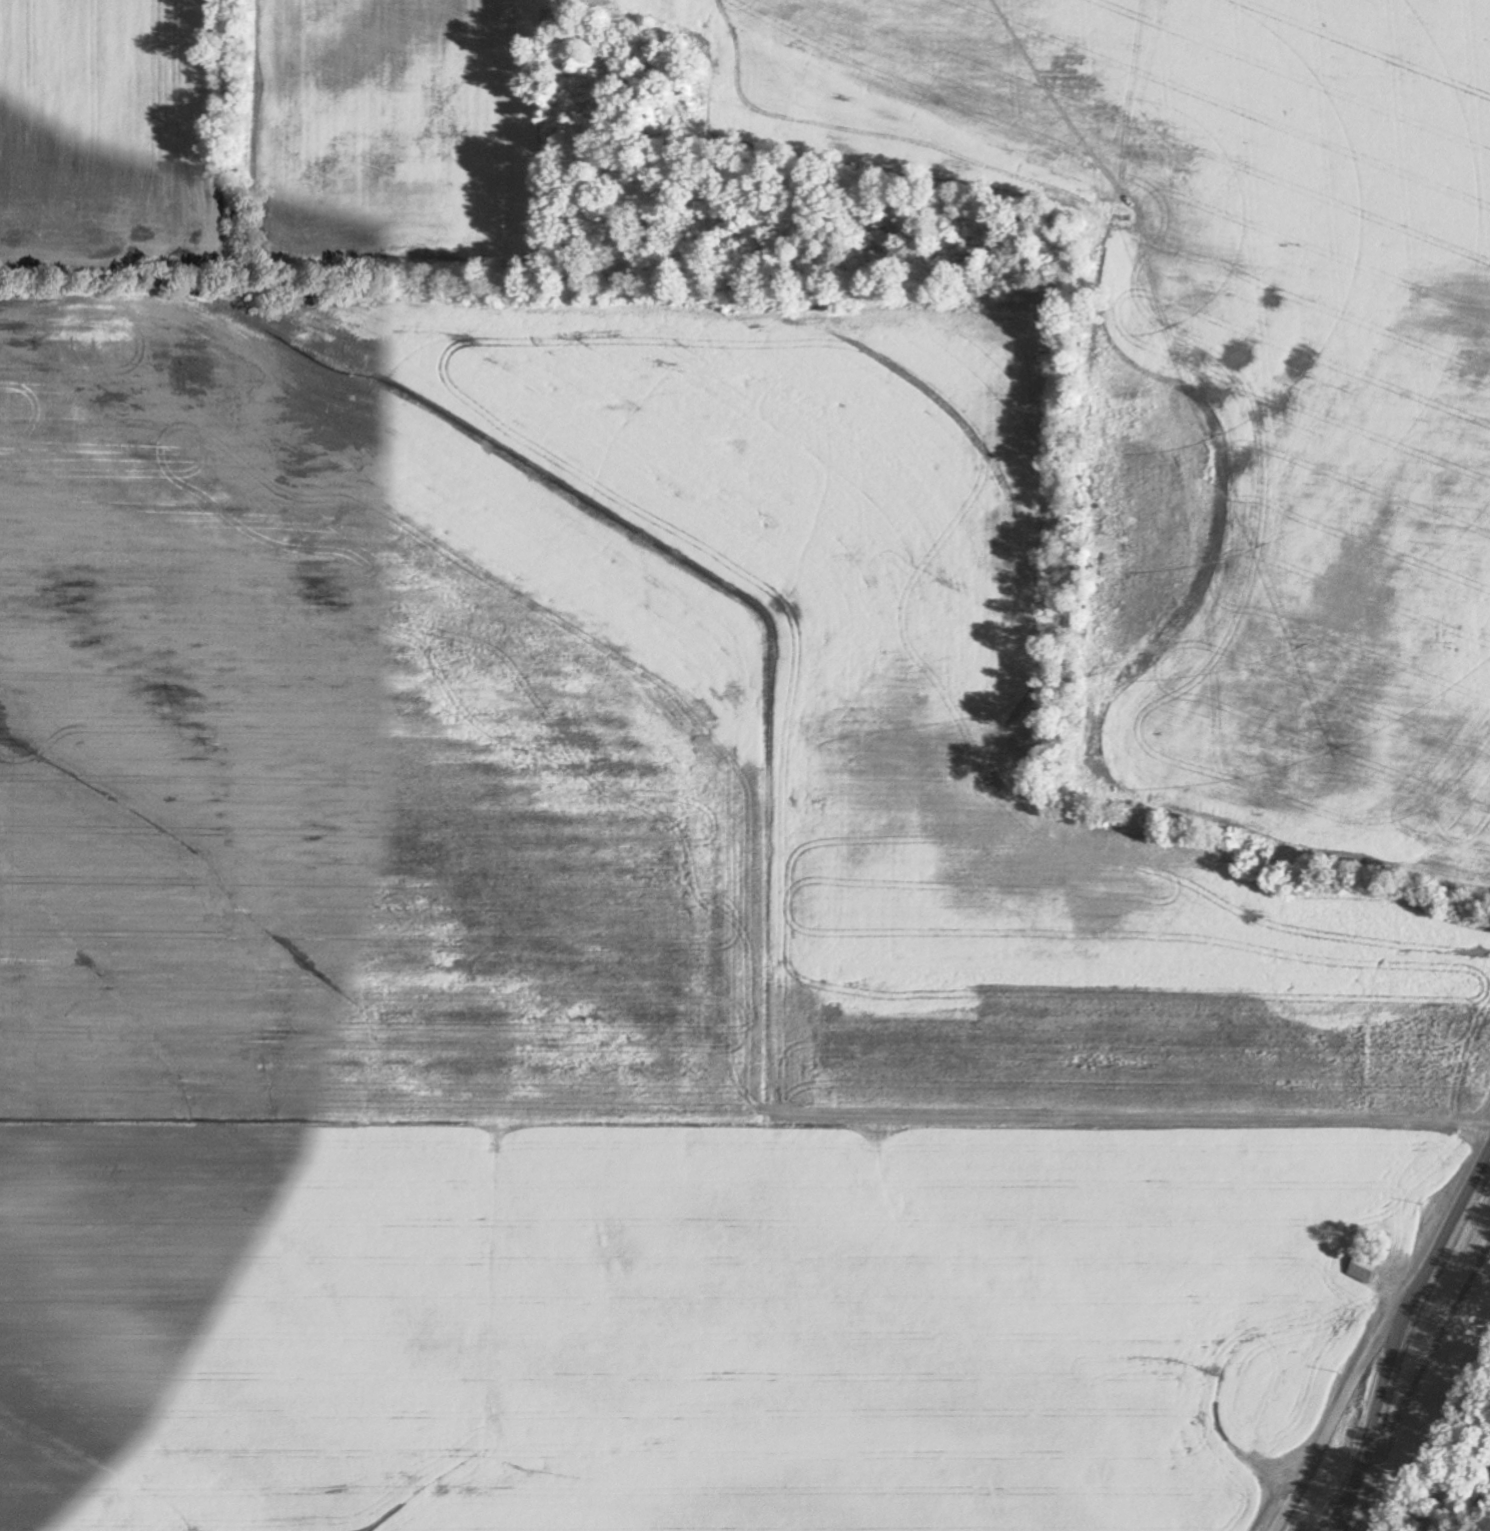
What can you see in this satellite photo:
park: (595, 123)
road: (1399, 1330)
road: (1414, 1394)
road: (1338, 1412)

